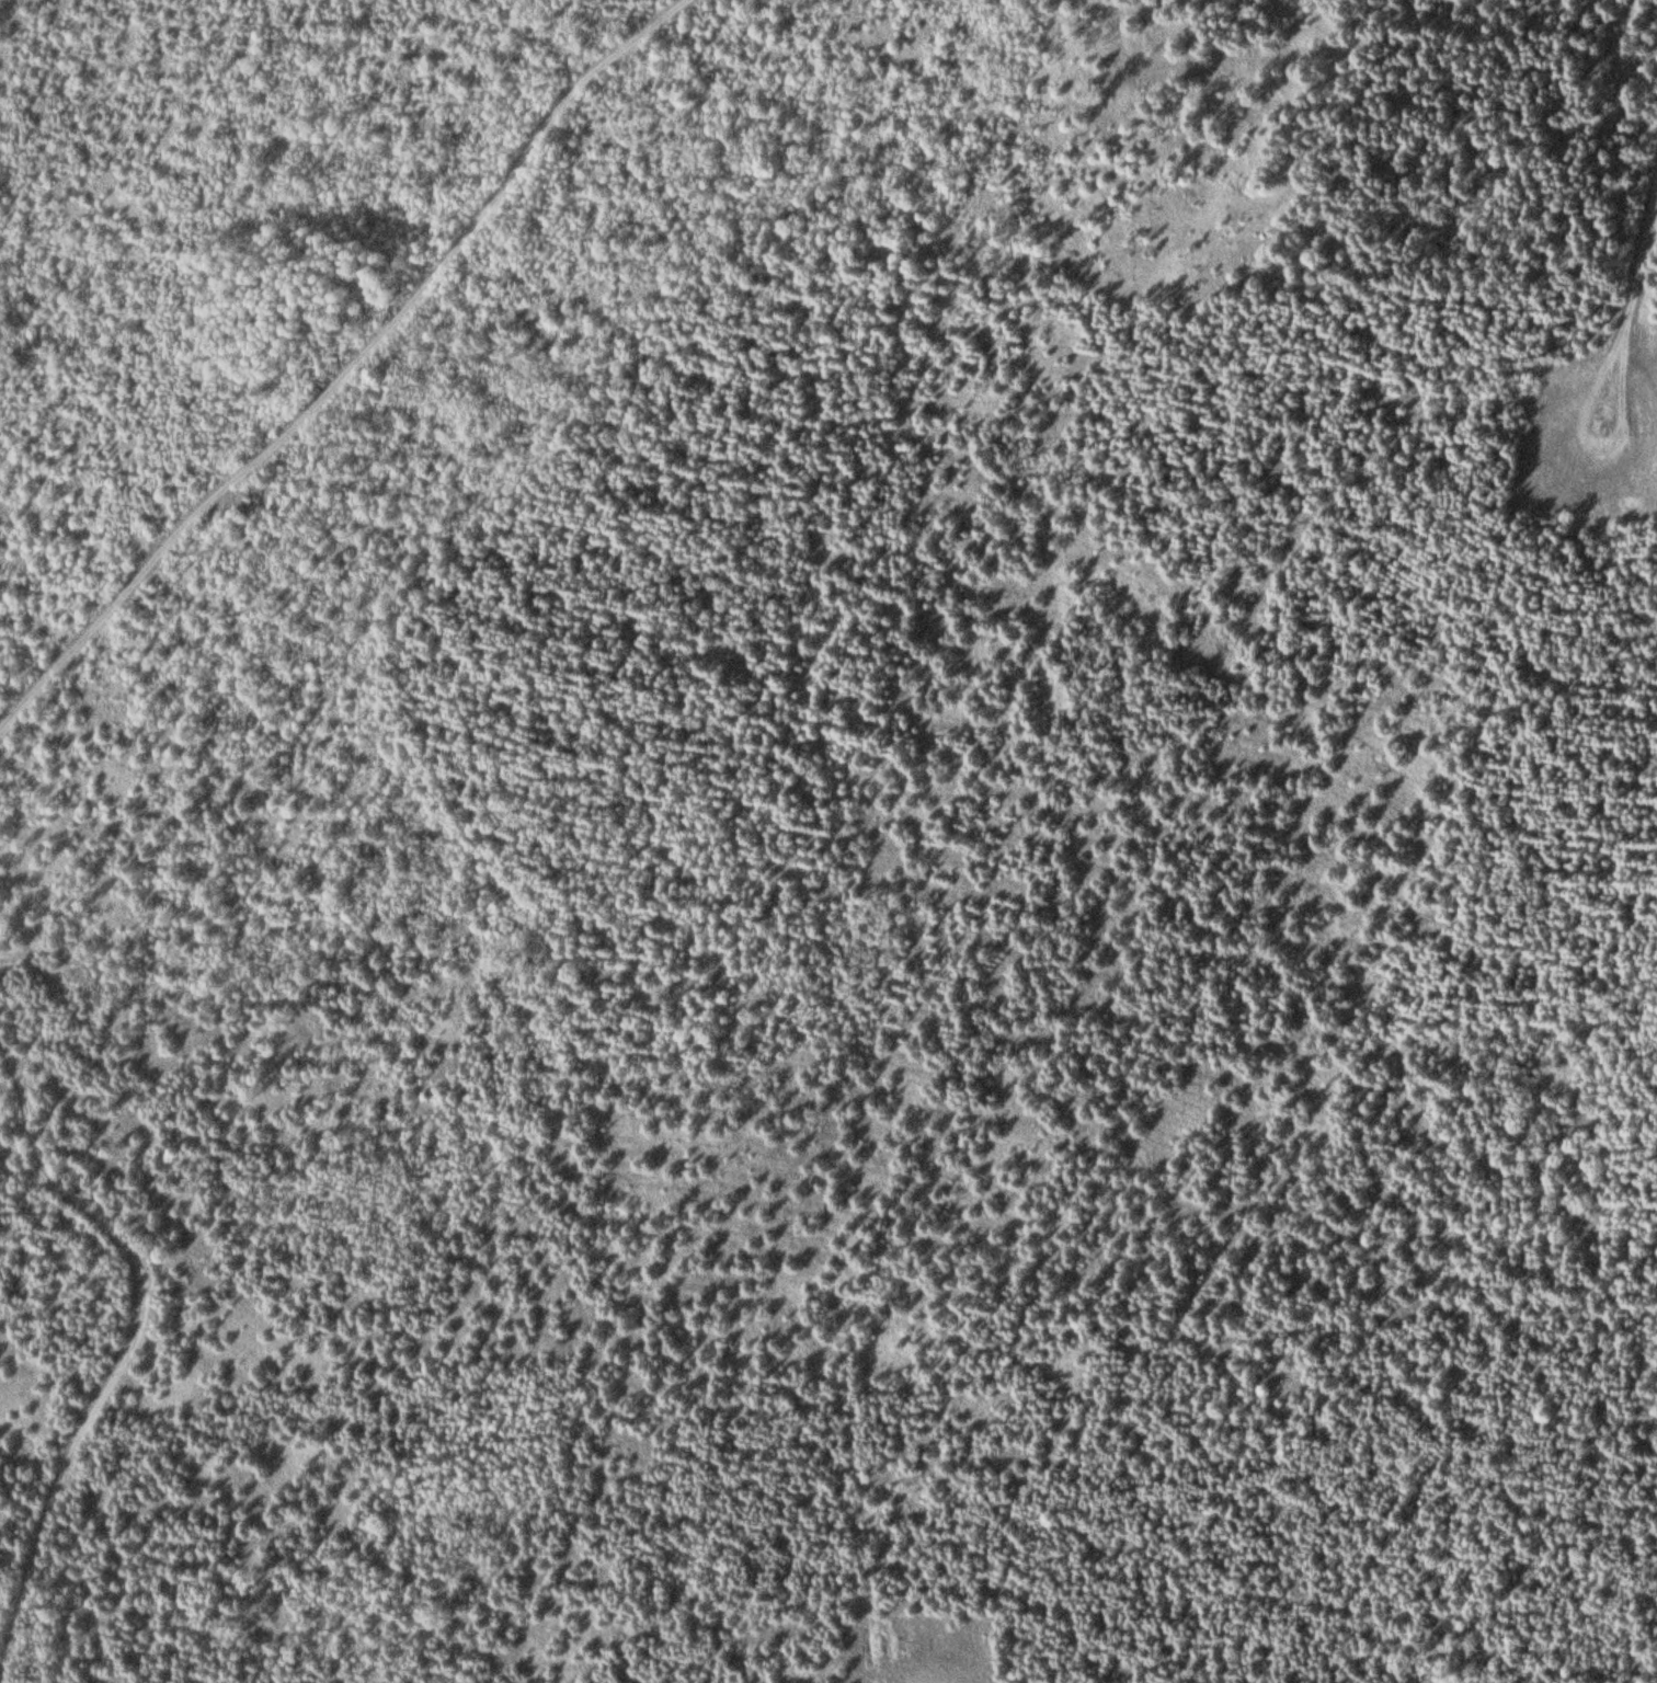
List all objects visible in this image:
road: (1639, 286)
road: (343, 367)
petroleum well: (1601, 419)
road: (134, 1332)
road: (950, 1679)

